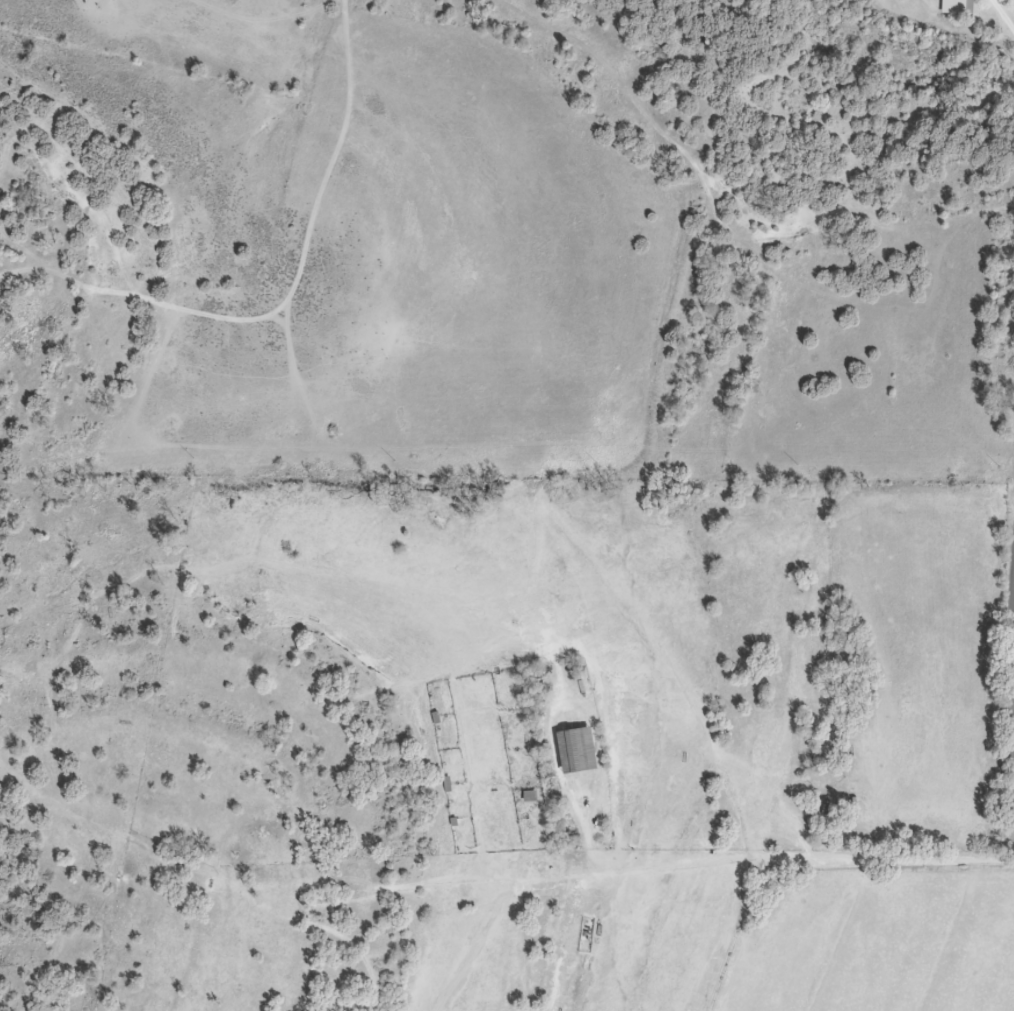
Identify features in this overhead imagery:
building: (966, 6)
road: (1004, 14)
building: (581, 749)
building: (827, 805)

